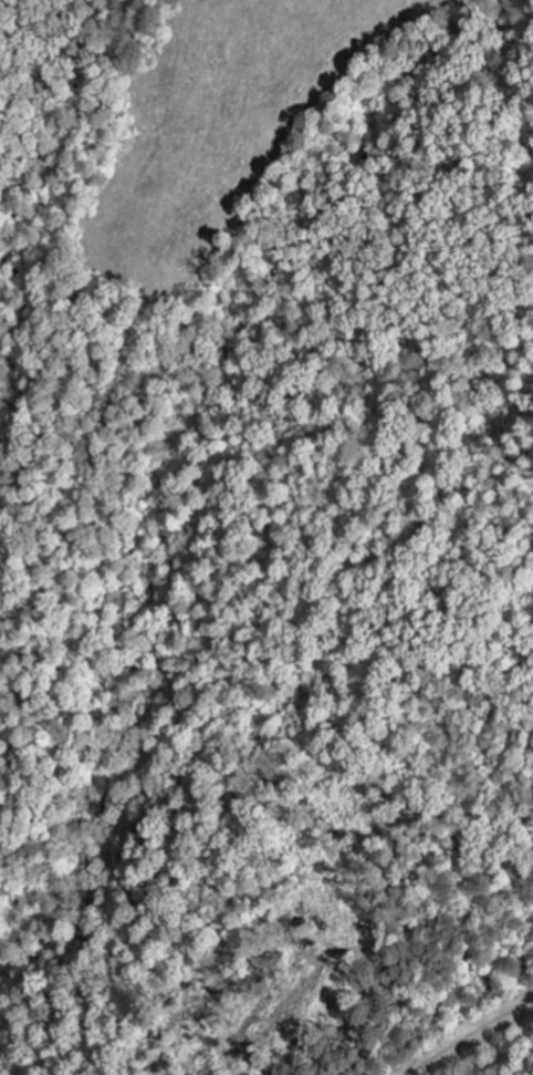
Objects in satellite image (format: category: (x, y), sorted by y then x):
road: (472, 1037)

